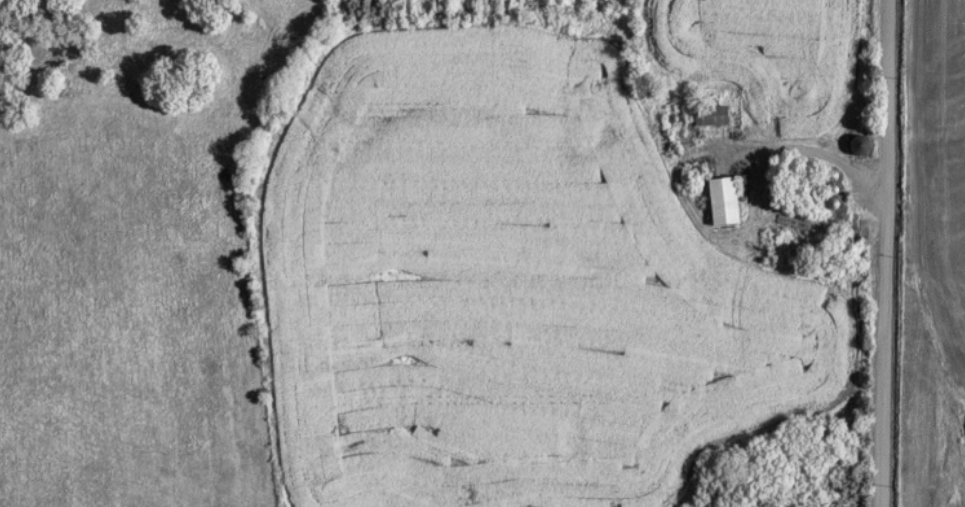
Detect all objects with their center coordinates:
building: (706, 118)
building: (853, 147)
building: (718, 202)
road: (883, 253)

